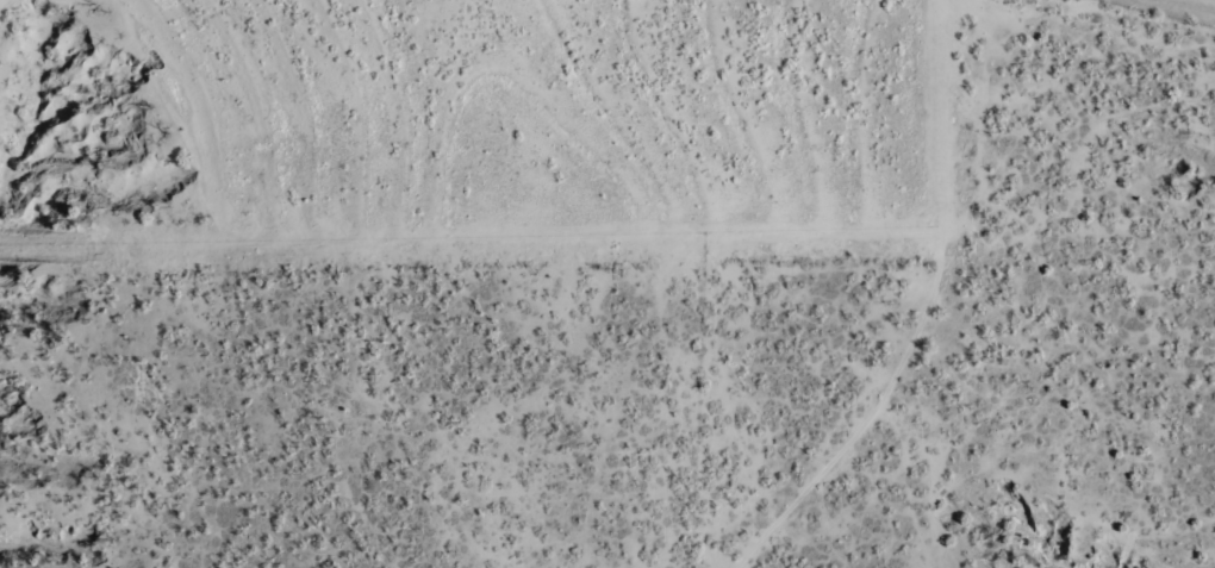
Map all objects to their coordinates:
road: (984, 73)

